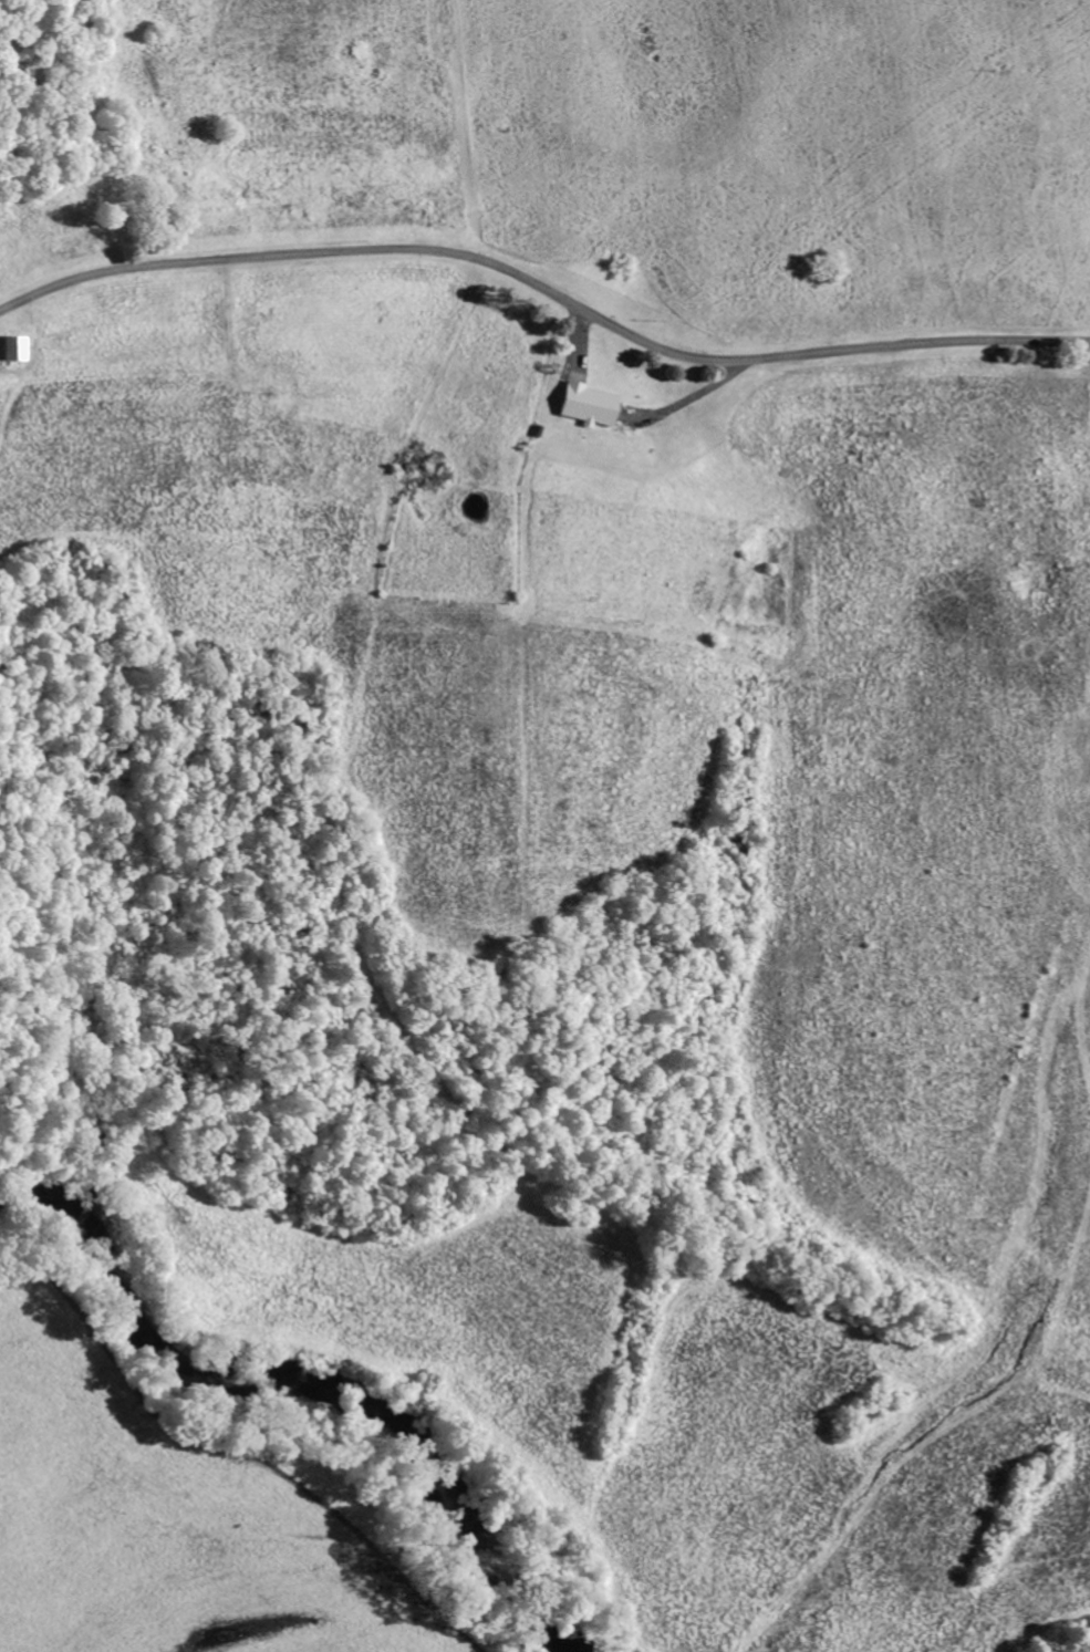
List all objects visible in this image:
road: (544, 289)
building: (9, 350)
building: (586, 406)

